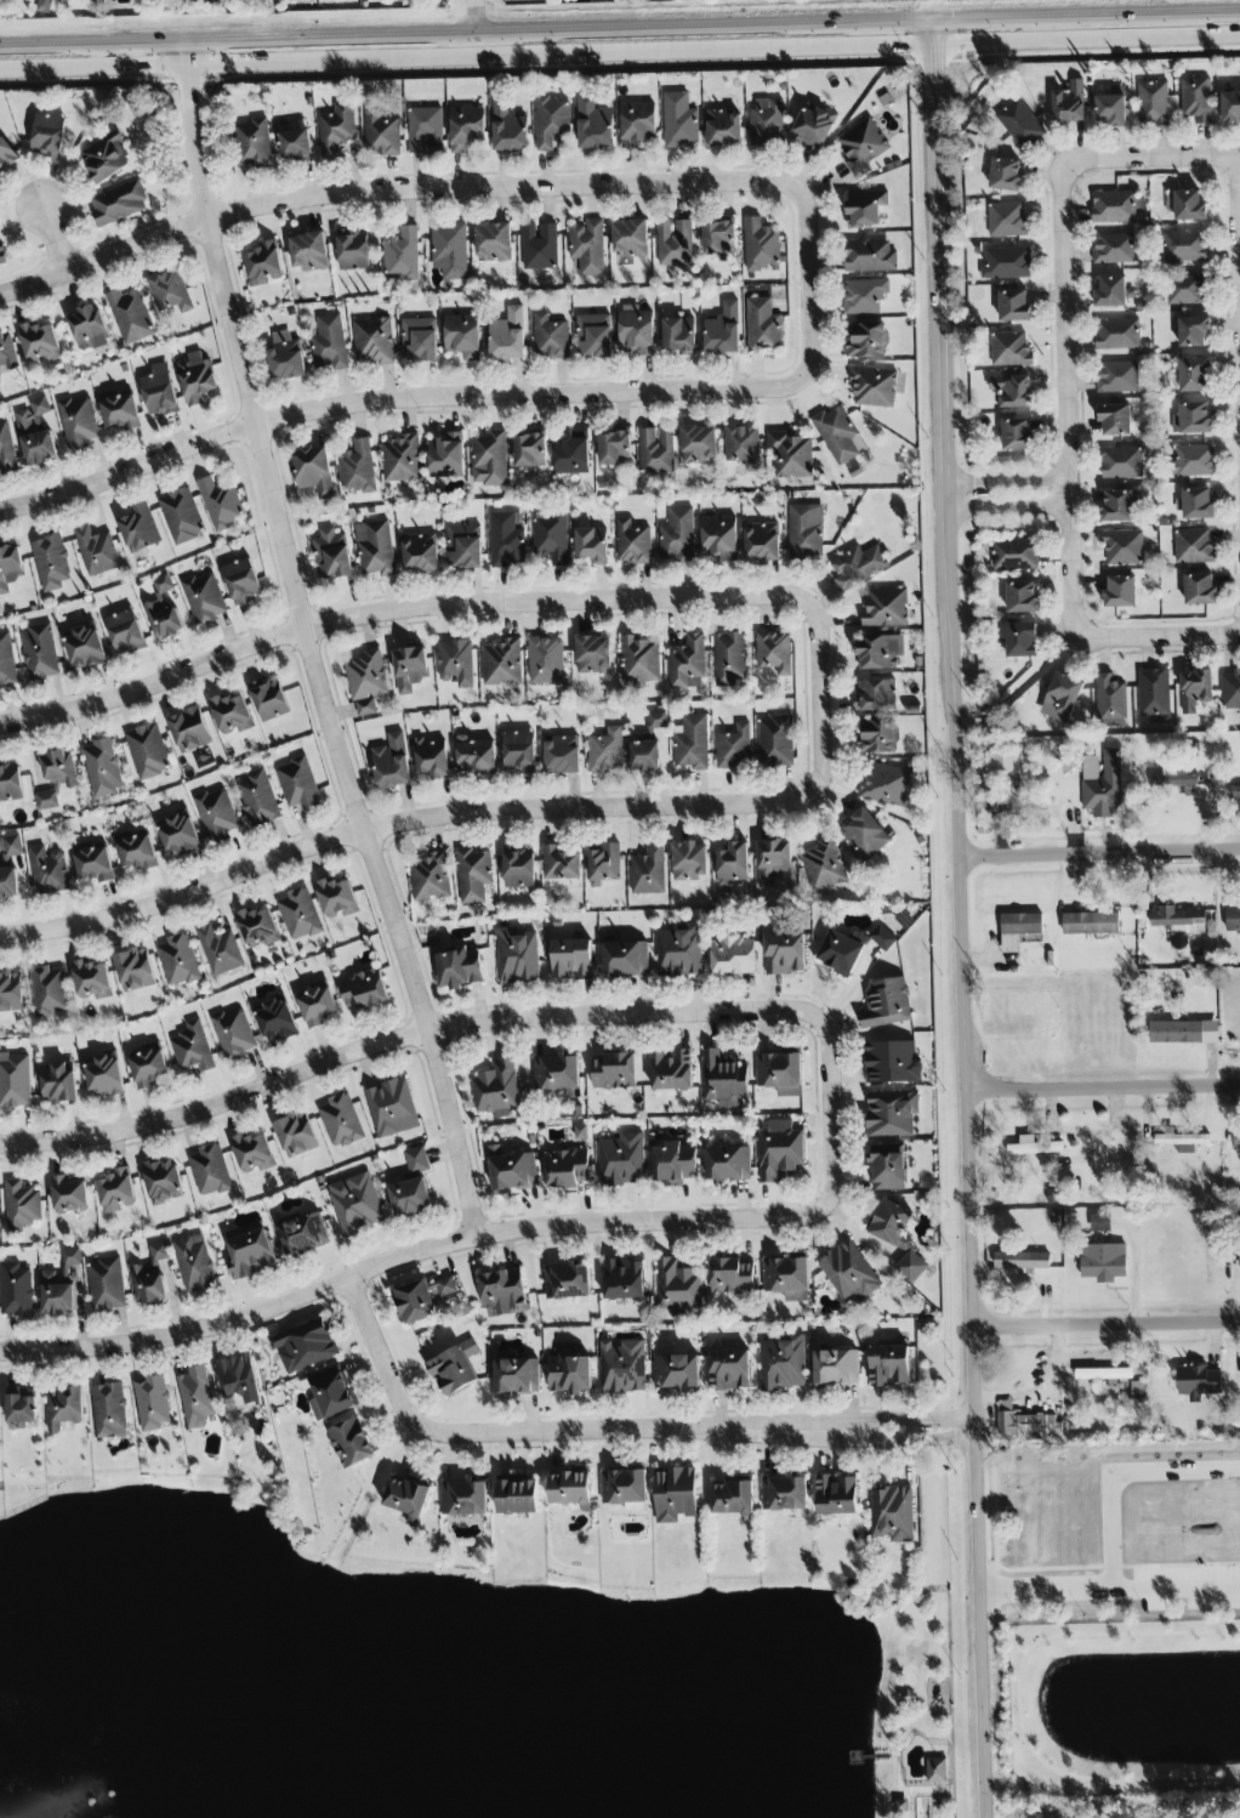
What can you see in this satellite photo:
building: (52, 0)
road: (1166, 8)
road: (449, 11)
road: (1012, 13)
road: (632, 22)
road: (477, 28)
road: (265, 33)
road: (98, 38)
road: (1087, 40)
road: (706, 50)
road: (402, 57)
road: (163, 63)
building: (1064, 98)
building: (1193, 101)
building: (1150, 102)
building: (1229, 102)
building: (1107, 107)
building: (1019, 119)
building: (551, 120)
building: (678, 120)
building: (766, 123)
building: (593, 124)
building: (637, 124)
building: (466, 127)
building: (723, 127)
building: (813, 127)
building: (508, 129)
building: (336, 130)
building: (425, 130)
building: (47, 133)
building: (380, 133)
building: (252, 143)
building: (295, 146)
building: (861, 147)
building: (6, 155)
building: (104, 157)
road: (1153, 158)
road: (1236, 160)
building: (1002, 172)
road: (1216, 177)
road: (438, 188)
building: (1119, 201)
building: (118, 203)
building: (1198, 203)
building: (865, 208)
road: (1045, 210)
building: (1005, 221)
road: (1238, 223)
road: (55, 235)
building: (630, 238)
building: (718, 238)
building: (1194, 240)
building: (493, 242)
building: (673, 243)
building: (539, 245)
building: (761, 245)
building: (587, 246)
building: (1111, 248)
building: (308, 250)
building: (353, 250)
building: (449, 251)
building: (1, 254)
building: (402, 254)
building: (869, 255)
building: (263, 263)
building: (1006, 263)
building: (1110, 286)
building: (1184, 286)
building: (169, 290)
building: (864, 295)
building: (1019, 301)
building: (130, 316)
building: (762, 325)
building: (87, 328)
building: (1190, 328)
building: (723, 329)
building: (636, 330)
building: (1114, 330)
building: (678, 334)
building: (461, 335)
building: (508, 335)
building: (593, 335)
building: (548, 337)
building: (420, 340)
building: (866, 340)
building: (38, 341)
building: (372, 341)
building: (328, 343)
building: (1006, 347)
building: (6, 351)
building: (285, 357)
building: (1191, 374)
building: (1115, 375)
building: (197, 377)
building: (874, 386)
building: (1008, 388)
building: (159, 391)
road: (449, 397)
road: (1068, 399)
building: (120, 410)
building: (1191, 414)
building: (1111, 415)
building: (78, 422)
building: (1016, 430)
building: (35, 433)
building: (838, 434)
building: (699, 444)
building: (743, 445)
building: (6, 448)
building: (614, 449)
building: (529, 450)
building: (656, 450)
building: (571, 453)
building: (790, 454)
building: (446, 456)
building: (402, 459)
building: (489, 459)
building: (1117, 460)
building: (1189, 460)
building: (358, 467)
building: (313, 471)
road: (1008, 483)
building: (1196, 500)
building: (220, 502)
building: (1115, 505)
road: (1009, 507)
building: (180, 516)
building: (138, 529)
building: (806, 532)
building: (551, 536)
building: (677, 536)
building: (719, 538)
building: (506, 541)
building: (762, 541)
building: (632, 542)
building: (591, 545)
building: (463, 546)
building: (1191, 546)
building: (375, 547)
building: (1120, 549)
building: (96, 551)
building: (420, 552)
building: (1013, 555)
building: (332, 556)
building: (51, 562)
building: (858, 566)
building: (10, 567)
building: (241, 581)
building: (1196, 589)
building: (1117, 591)
building: (1020, 596)
building: (204, 598)
road: (437, 603)
building: (886, 607)
building: (164, 610)
road: (1087, 614)
building: (125, 632)
building: (1019, 636)
road: (1160, 636)
road: (306, 641)
building: (85, 647)
building: (39, 652)
building: (774, 652)
building: (880, 652)
building: (593, 654)
building: (639, 659)
building: (729, 659)
building: (6, 660)
building: (545, 660)
road: (1087, 660)
building: (455, 663)
building: (501, 663)
building: (688, 663)
building: (410, 669)
building: (366, 681)
building: (1234, 684)
building: (1190, 688)
building: (1062, 693)
building: (1150, 693)
building: (875, 694)
building: (1110, 698)
building: (269, 699)
building: (231, 714)
building: (658, 720)
building: (189, 729)
building: (880, 735)
building: (775, 740)
building: (692, 743)
building: (734, 748)
building: (147, 751)
building: (605, 751)
building: (519, 752)
building: (562, 755)
building: (645, 755)
building: (474, 756)
building: (432, 757)
building: (392, 762)
building: (997, 762)
building: (102, 767)
building: (1174, 776)
building: (56, 777)
building: (10, 782)
building: (298, 783)
building: (1102, 783)
building: (886, 785)
building: (1235, 791)
building: (258, 799)
road: (456, 812)
building: (217, 814)
building: (180, 834)
building: (865, 834)
building: (136, 851)
road: (1100, 853)
building: (773, 860)
building: (689, 862)
building: (733, 862)
building: (561, 863)
building: (604, 863)
building: (93, 864)
building: (823, 865)
building: (518, 867)
building: (49, 870)
building: (648, 870)
building: (473, 875)
building: (430, 877)
building: (337, 897)
building: (300, 914)
road: (962, 916)
building: (1233, 919)
building: (1179, 920)
building: (1090, 922)
building: (1020, 924)
building: (258, 926)
building: (882, 937)
building: (220, 950)
building: (678, 951)
building: (785, 953)
building: (840, 953)
building: (517, 955)
building: (733, 955)
building: (571, 959)
building: (625, 959)
building: (177, 960)
building: (460, 968)
building: (135, 970)
building: (92, 979)
building: (363, 989)
building: (50, 990)
building: (11, 992)
building: (886, 1002)
building: (317, 1005)
building: (277, 1019)
road: (445, 1029)
building: (1184, 1032)
building: (233, 1033)
building: (193, 1047)
building: (892, 1062)
building: (148, 1068)
building: (614, 1070)
building: (671, 1070)
building: (558, 1073)
building: (780, 1073)
building: (106, 1075)
building: (15, 1080)
building: (723, 1080)
building: (59, 1083)
building: (496, 1089)
road: (1104, 1089)
building: (391, 1108)
building: (892, 1113)
building: (340, 1120)
building: (296, 1135)
building: (1181, 1140)
building: (1035, 1149)
building: (780, 1151)
building: (252, 1153)
building: (416, 1159)
building: (621, 1160)
building: (675, 1161)
building: (728, 1163)
building: (567, 1168)
building: (888, 1168)
building: (512, 1169)
building: (210, 1170)
building: (163, 1181)
building: (116, 1191)
building: (69, 1194)
building: (410, 1198)
building: (355, 1204)
building: (22, 1205)
building: (1102, 1222)
building: (303, 1234)
building: (898, 1238)
road: (460, 1239)
building: (1239, 1242)
building: (250, 1254)
building: (70, 1256)
building: (1022, 1261)
building: (1103, 1262)
building: (194, 1263)
building: (849, 1273)
building: (732, 1276)
building: (150, 1277)
building: (787, 1278)
building: (624, 1279)
building: (568, 1280)
building: (106, 1284)
building: (443, 1286)
building: (678, 1286)
building: (15, 1290)
building: (58, 1290)
building: (502, 1293)
building: (414, 1302)
road: (1108, 1323)
building: (305, 1345)
building: (783, 1364)
building: (889, 1365)
building: (622, 1367)
building: (455, 1368)
building: (835, 1368)
building: (729, 1369)
building: (676, 1371)
building: (569, 1374)
building: (1103, 1374)
building: (516, 1375)
building: (239, 1377)
building: (1198, 1381)
building: (331, 1394)
building: (195, 1397)
building: (1134, 1397)
building: (152, 1402)
building: (21, 1407)
building: (63, 1408)
building: (109, 1410)
building: (1026, 1424)
building: (351, 1442)
road: (612, 1444)
road: (1119, 1470)
building: (569, 1489)
building: (625, 1489)
building: (785, 1492)
building: (676, 1494)
building: (518, 1495)
building: (837, 1495)
building: (409, 1498)
building: (463, 1498)
building: (733, 1498)
building: (892, 1513)
road: (935, 1513)
parking lot: (946, 1521)
road: (1174, 1585)
road: (1046, 1586)
park: (461, 1672)
road: (1018, 1703)
road: (922, 1708)
road: (917, 1726)
road: (886, 1756)
pier: (830, 1757)
pier: (844, 1757)
pier: (851, 1757)
pier: (860, 1762)
building: (937, 1769)

